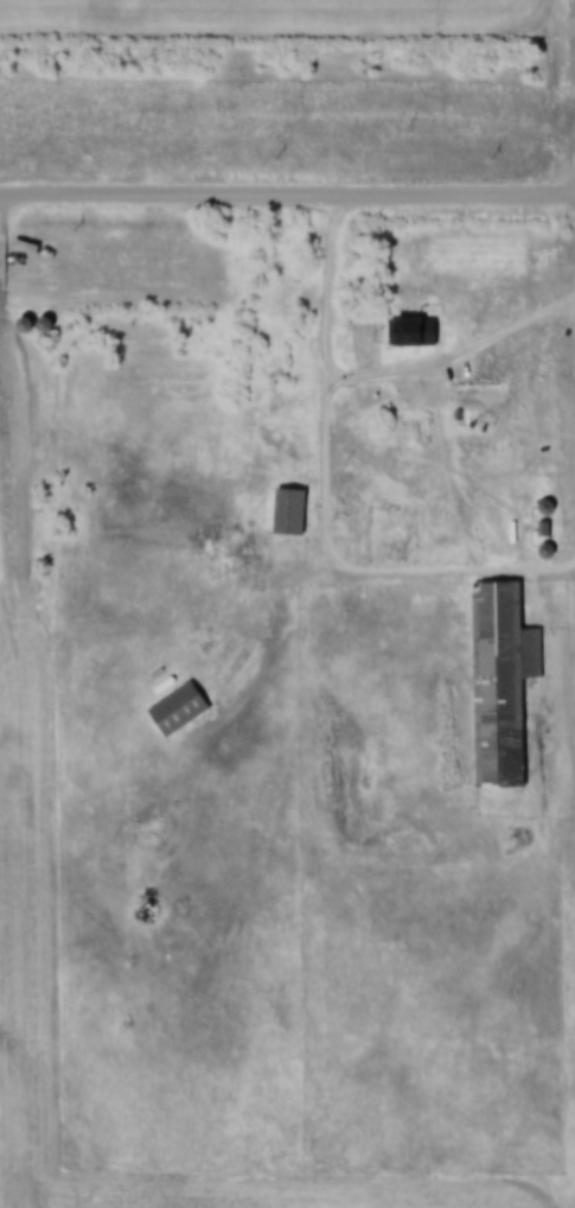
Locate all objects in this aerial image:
road: (287, 195)
building: (411, 330)
road: (369, 377)
building: (290, 510)
road: (486, 576)
building: (504, 681)
building: (181, 708)

